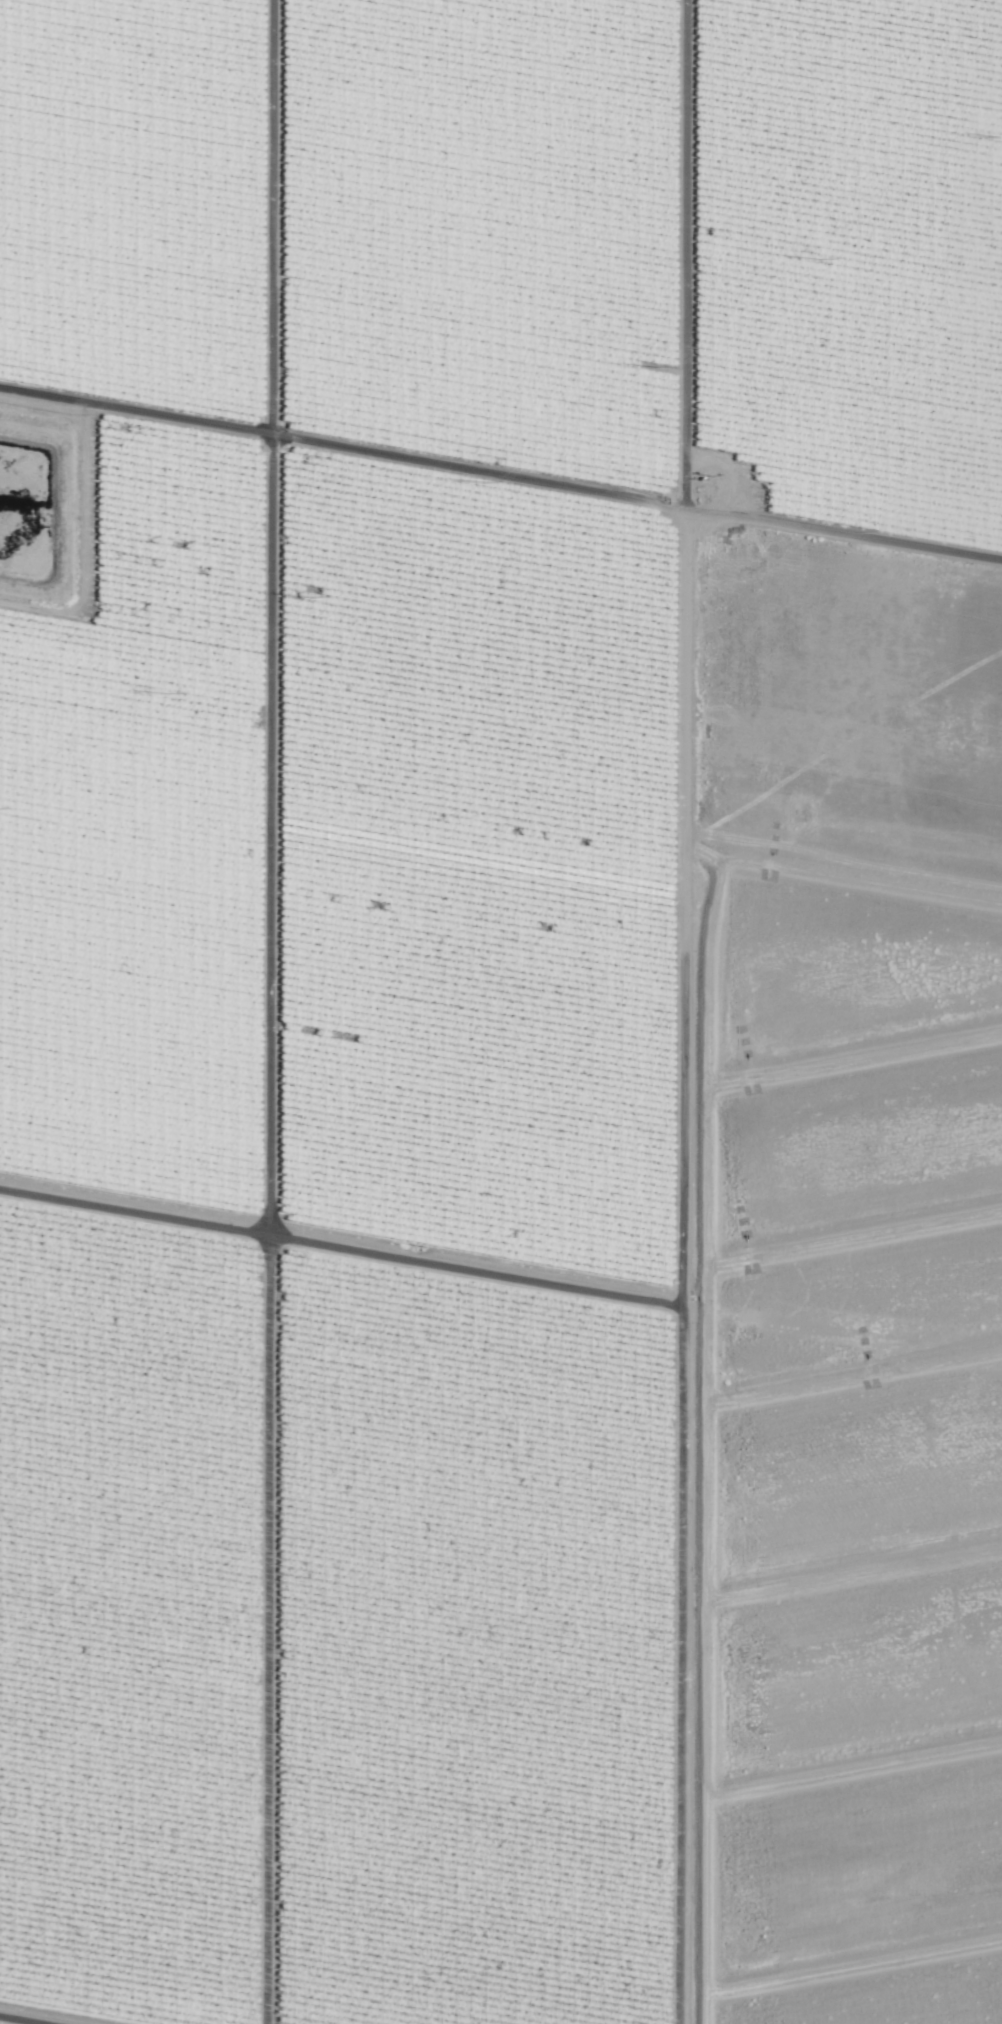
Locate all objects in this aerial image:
road: (699, 666)
crop: (501, 1012)
road: (501, 1299)

